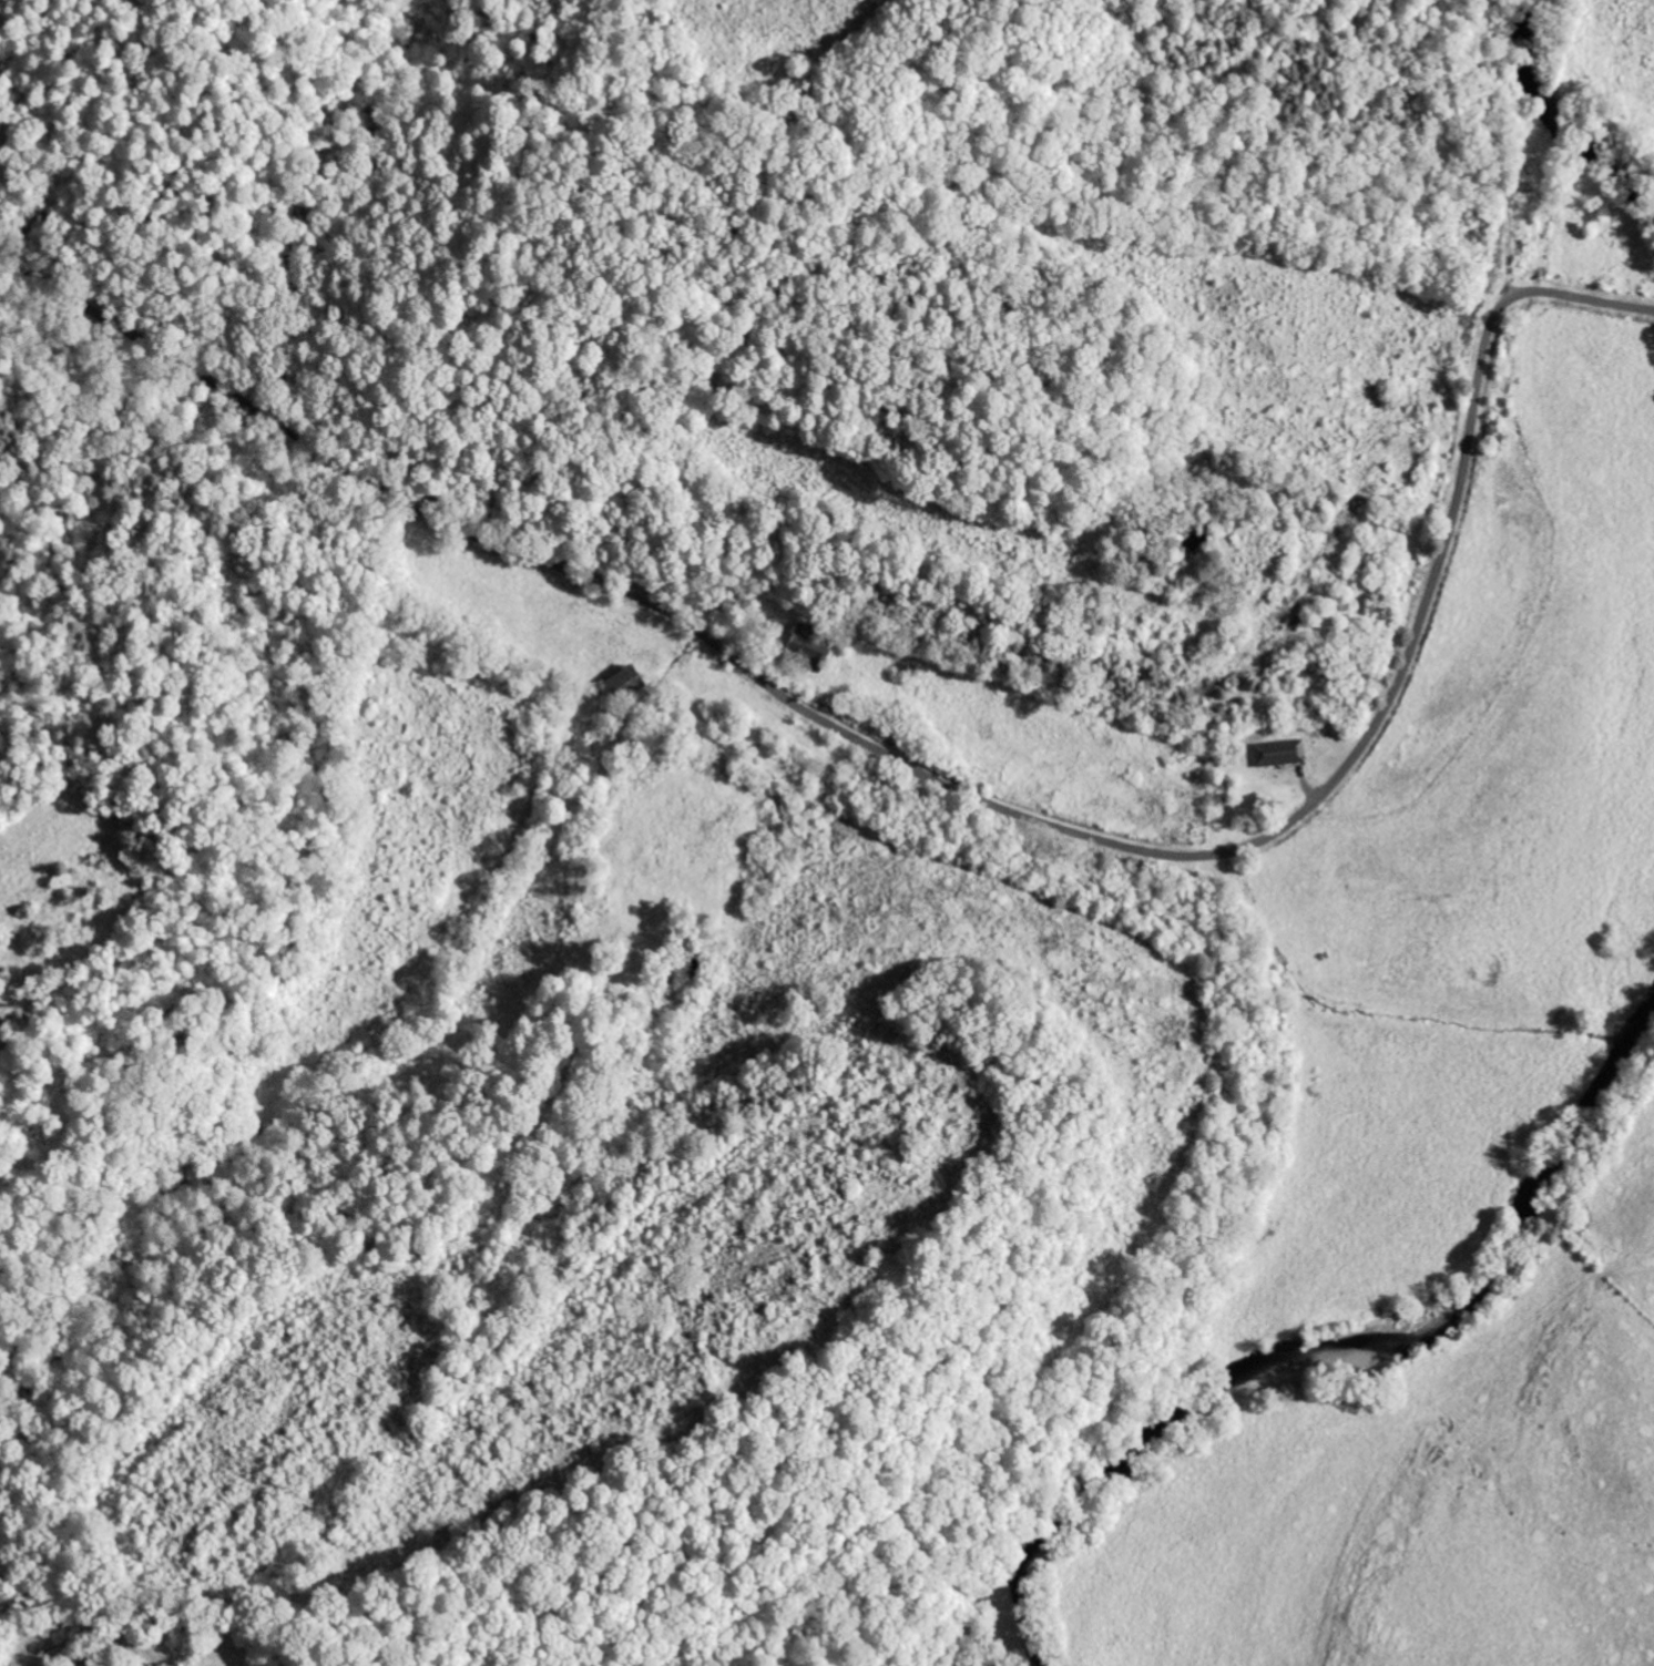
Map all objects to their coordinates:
road: (1481, 160)
building: (806, 644)
building: (1278, 753)
road: (949, 786)

